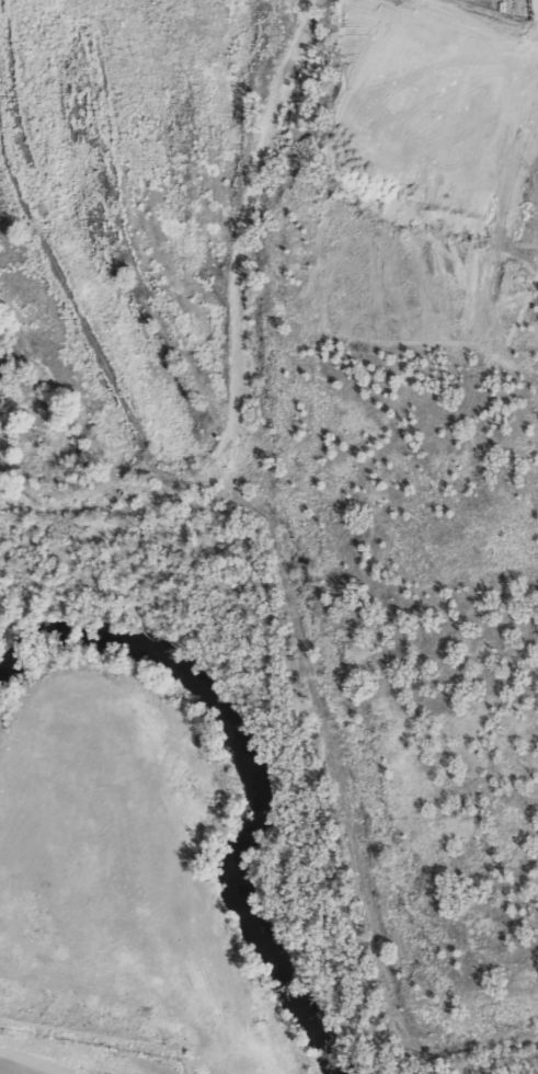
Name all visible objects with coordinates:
road: (530, 13)
road: (261, 333)

